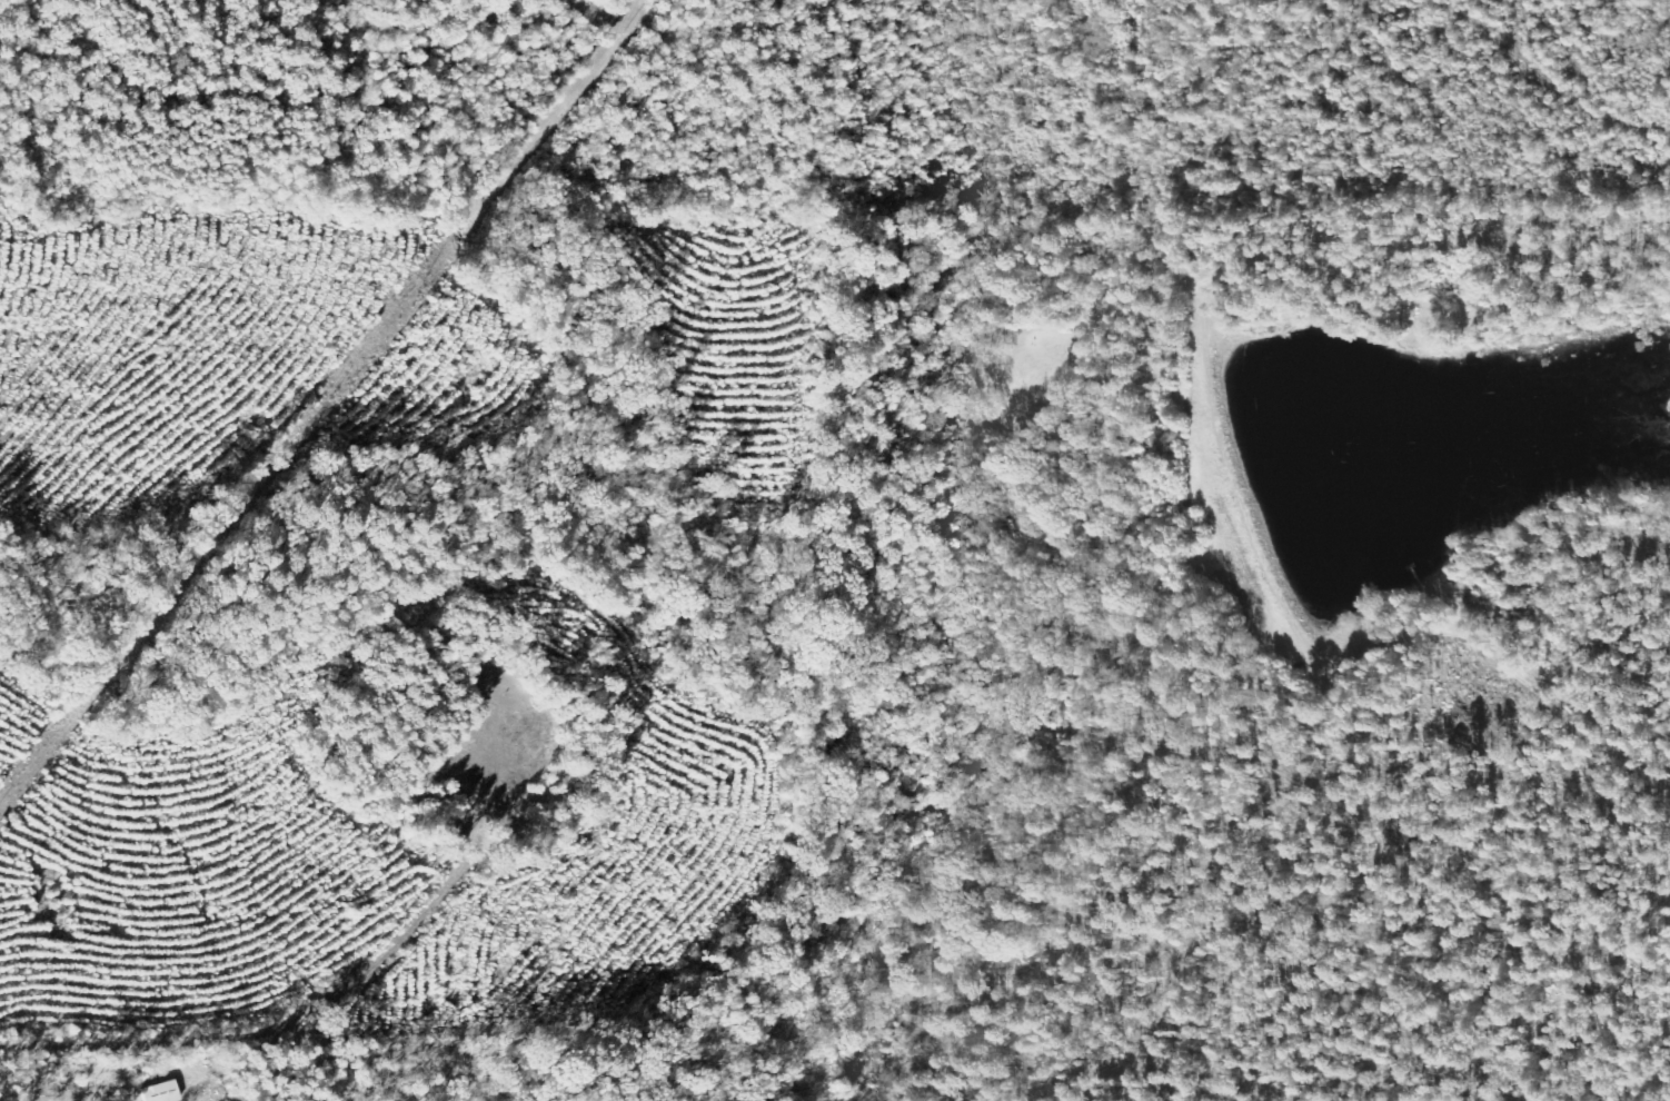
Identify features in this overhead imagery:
building: (166, 1091)

